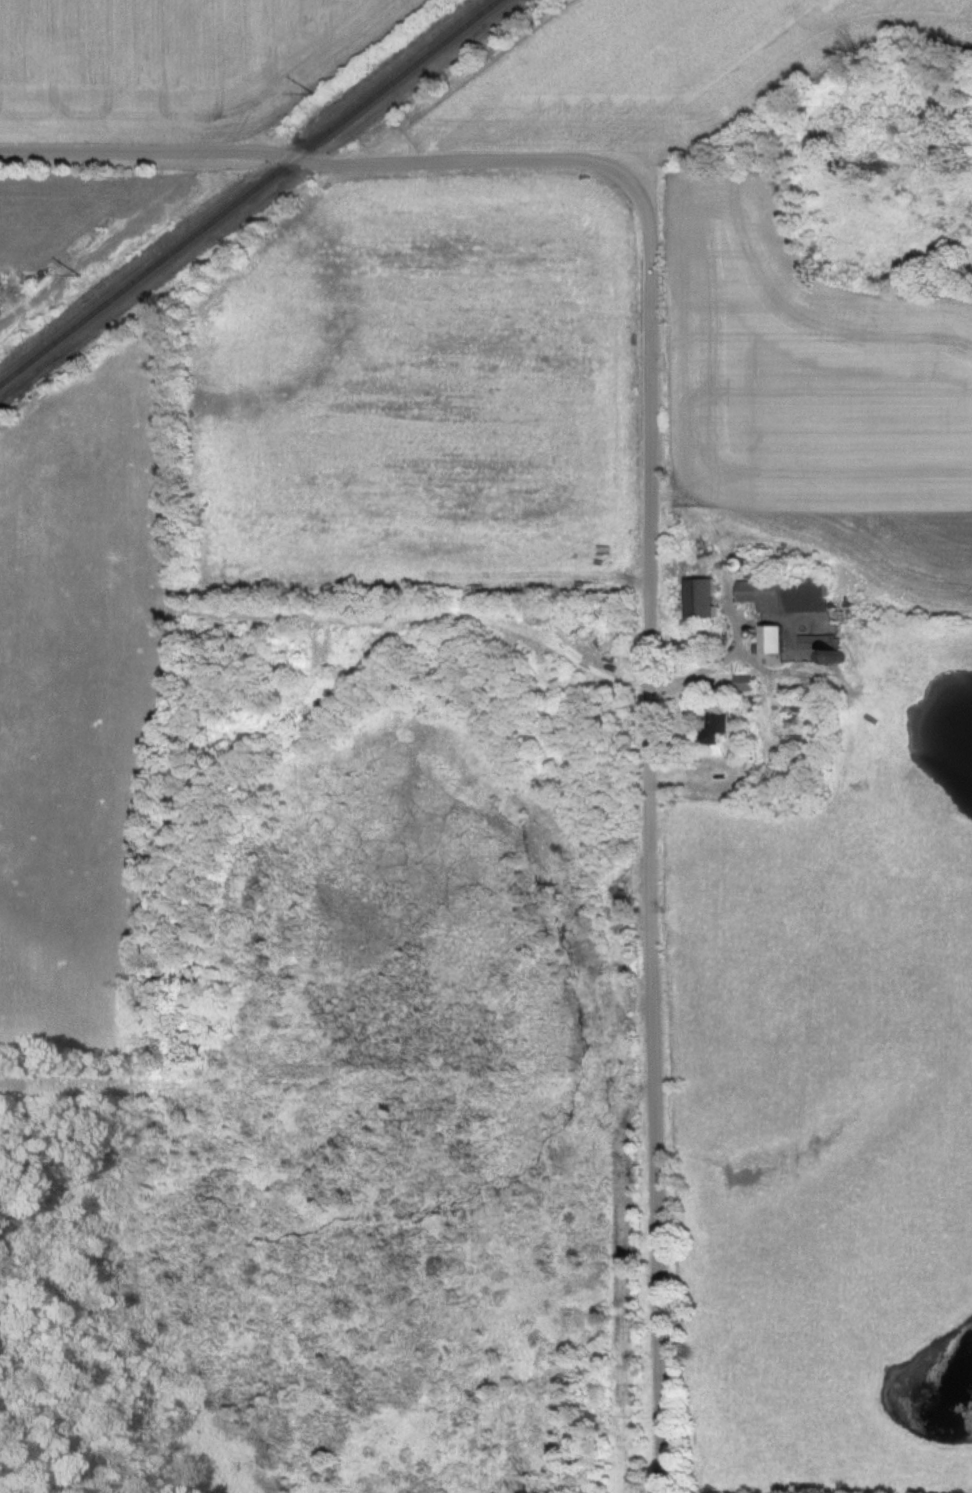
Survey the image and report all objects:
crop: (174, 63)
crop: (661, 68)
railway: (245, 190)
crop: (820, 404)
road: (651, 513)
building: (785, 596)
building: (699, 599)
building: (772, 646)
building: (744, 685)
building: (715, 729)

